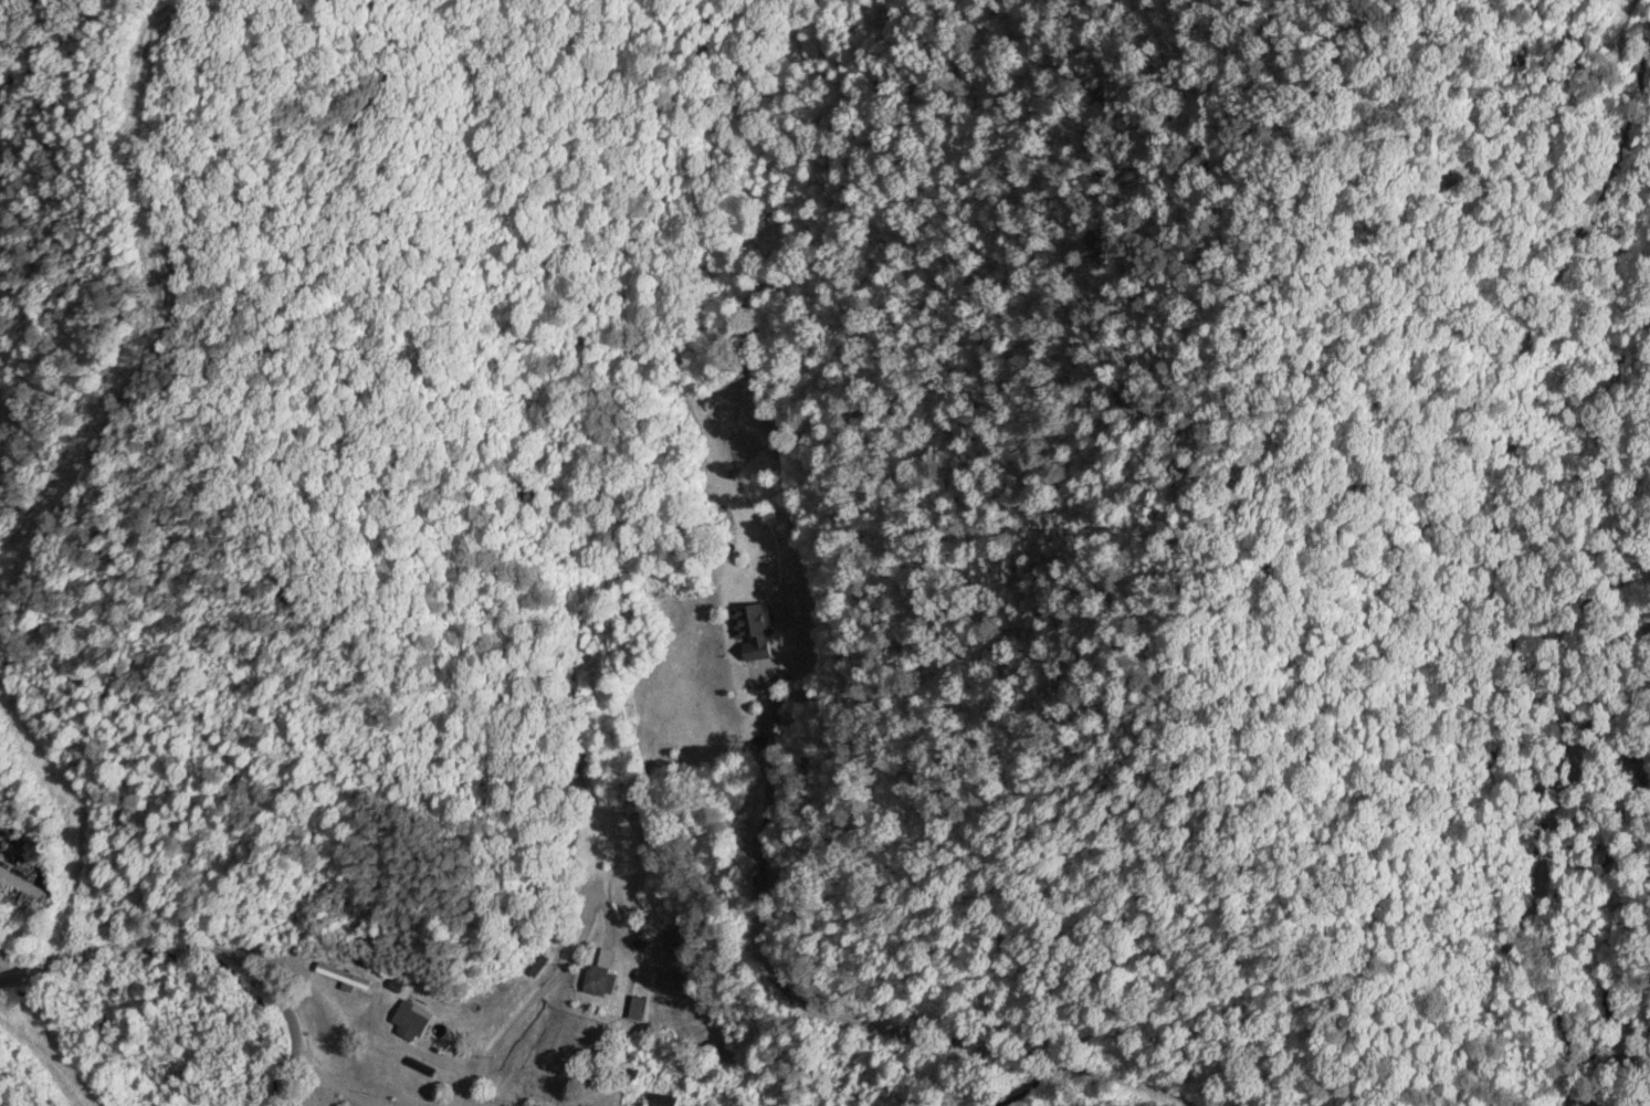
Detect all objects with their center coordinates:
road: (198, 927)
road: (444, 1083)

